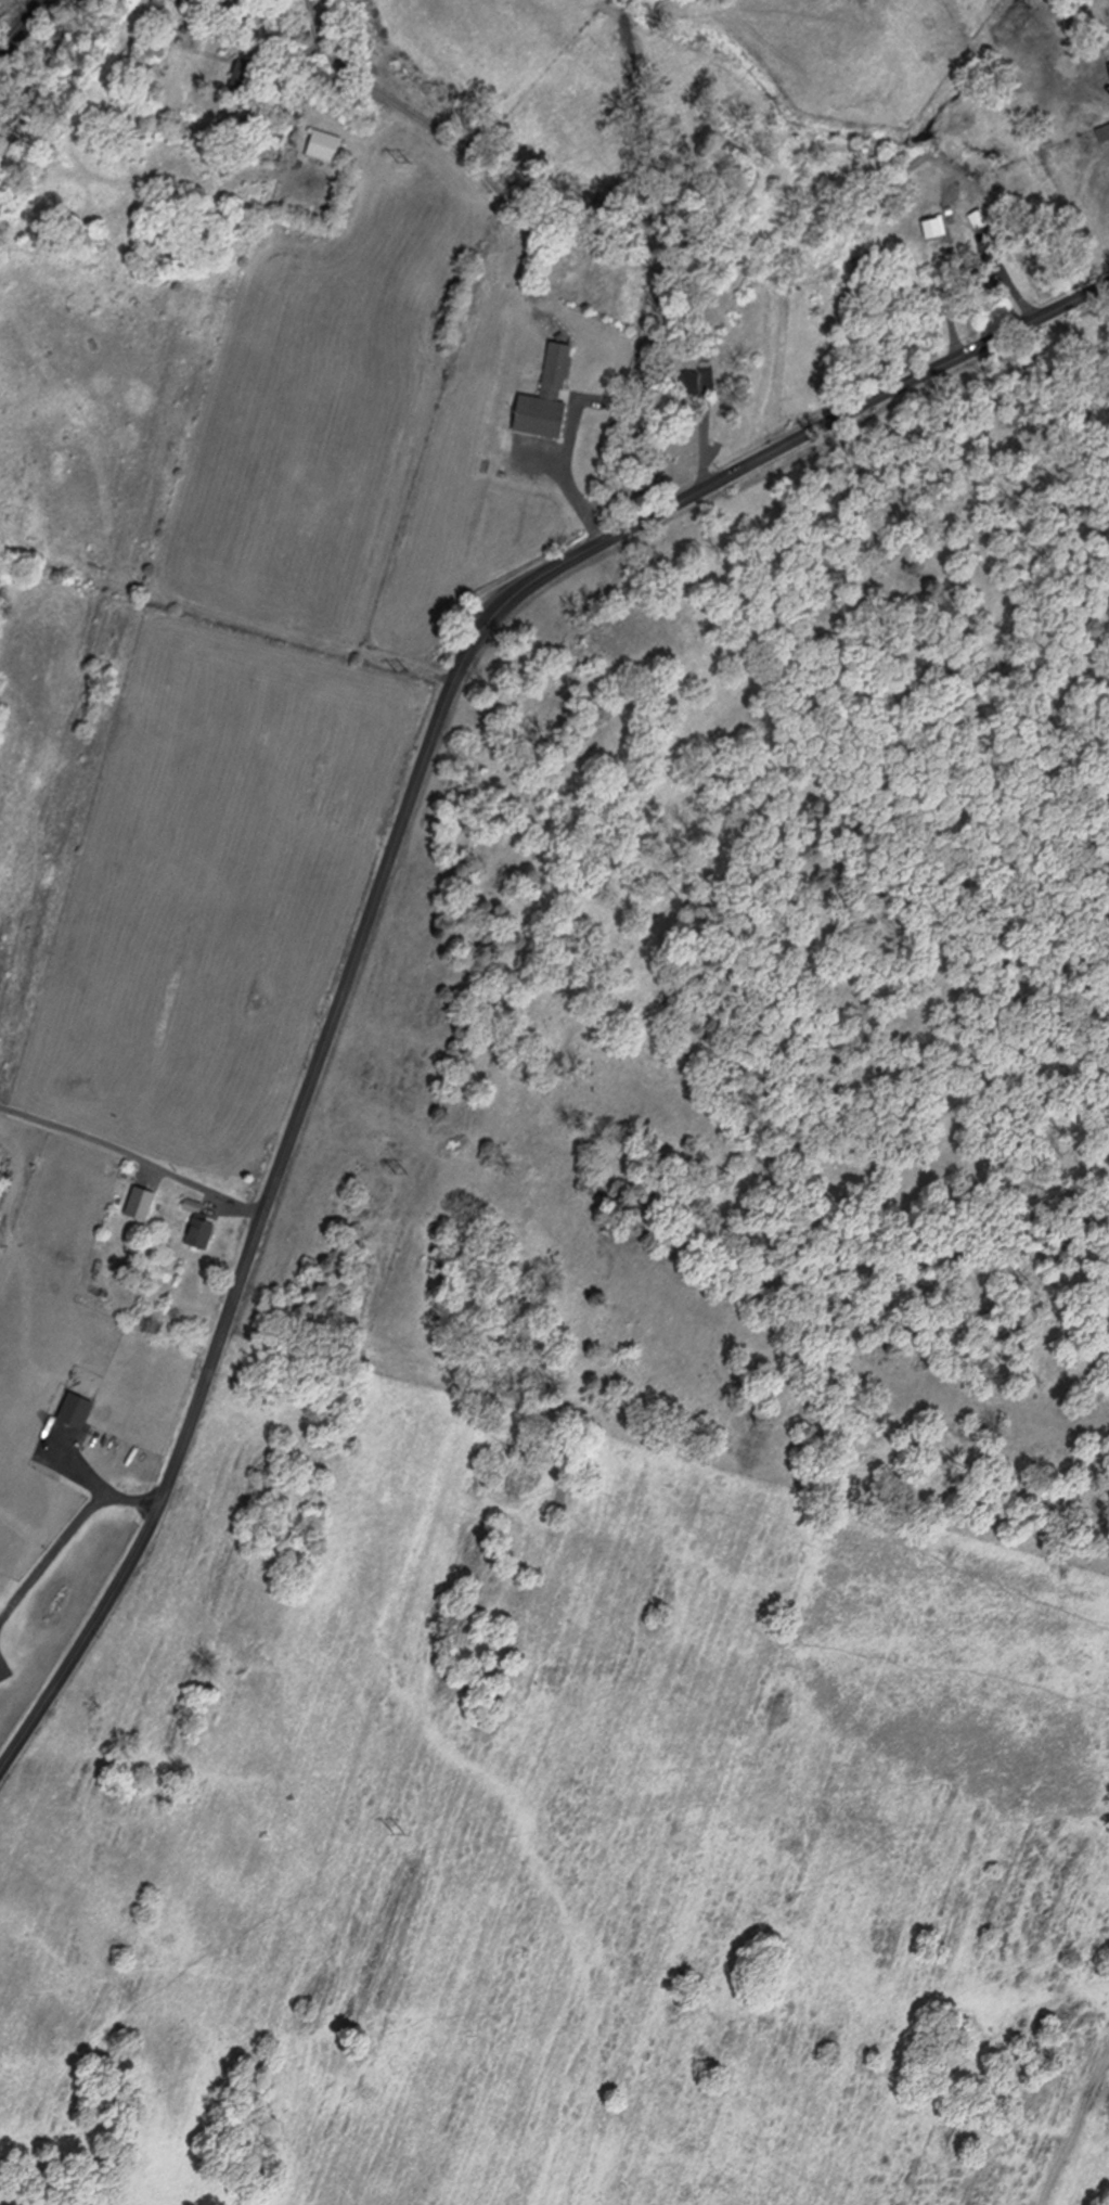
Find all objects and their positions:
road: (312, 24)
railway: (21, 25)
building: (1101, 76)
building: (255, 78)
building: (1098, 133)
building: (335, 146)
power tower: (403, 164)
building: (921, 228)
road: (975, 275)
building: (988, 289)
road: (409, 318)
building: (679, 382)
building: (532, 398)
road: (566, 473)
power tower: (401, 670)
road: (391, 870)
road: (136, 1161)
power tower: (398, 1172)
building: (147, 1201)
building: (206, 1230)
power tower: (397, 1830)

